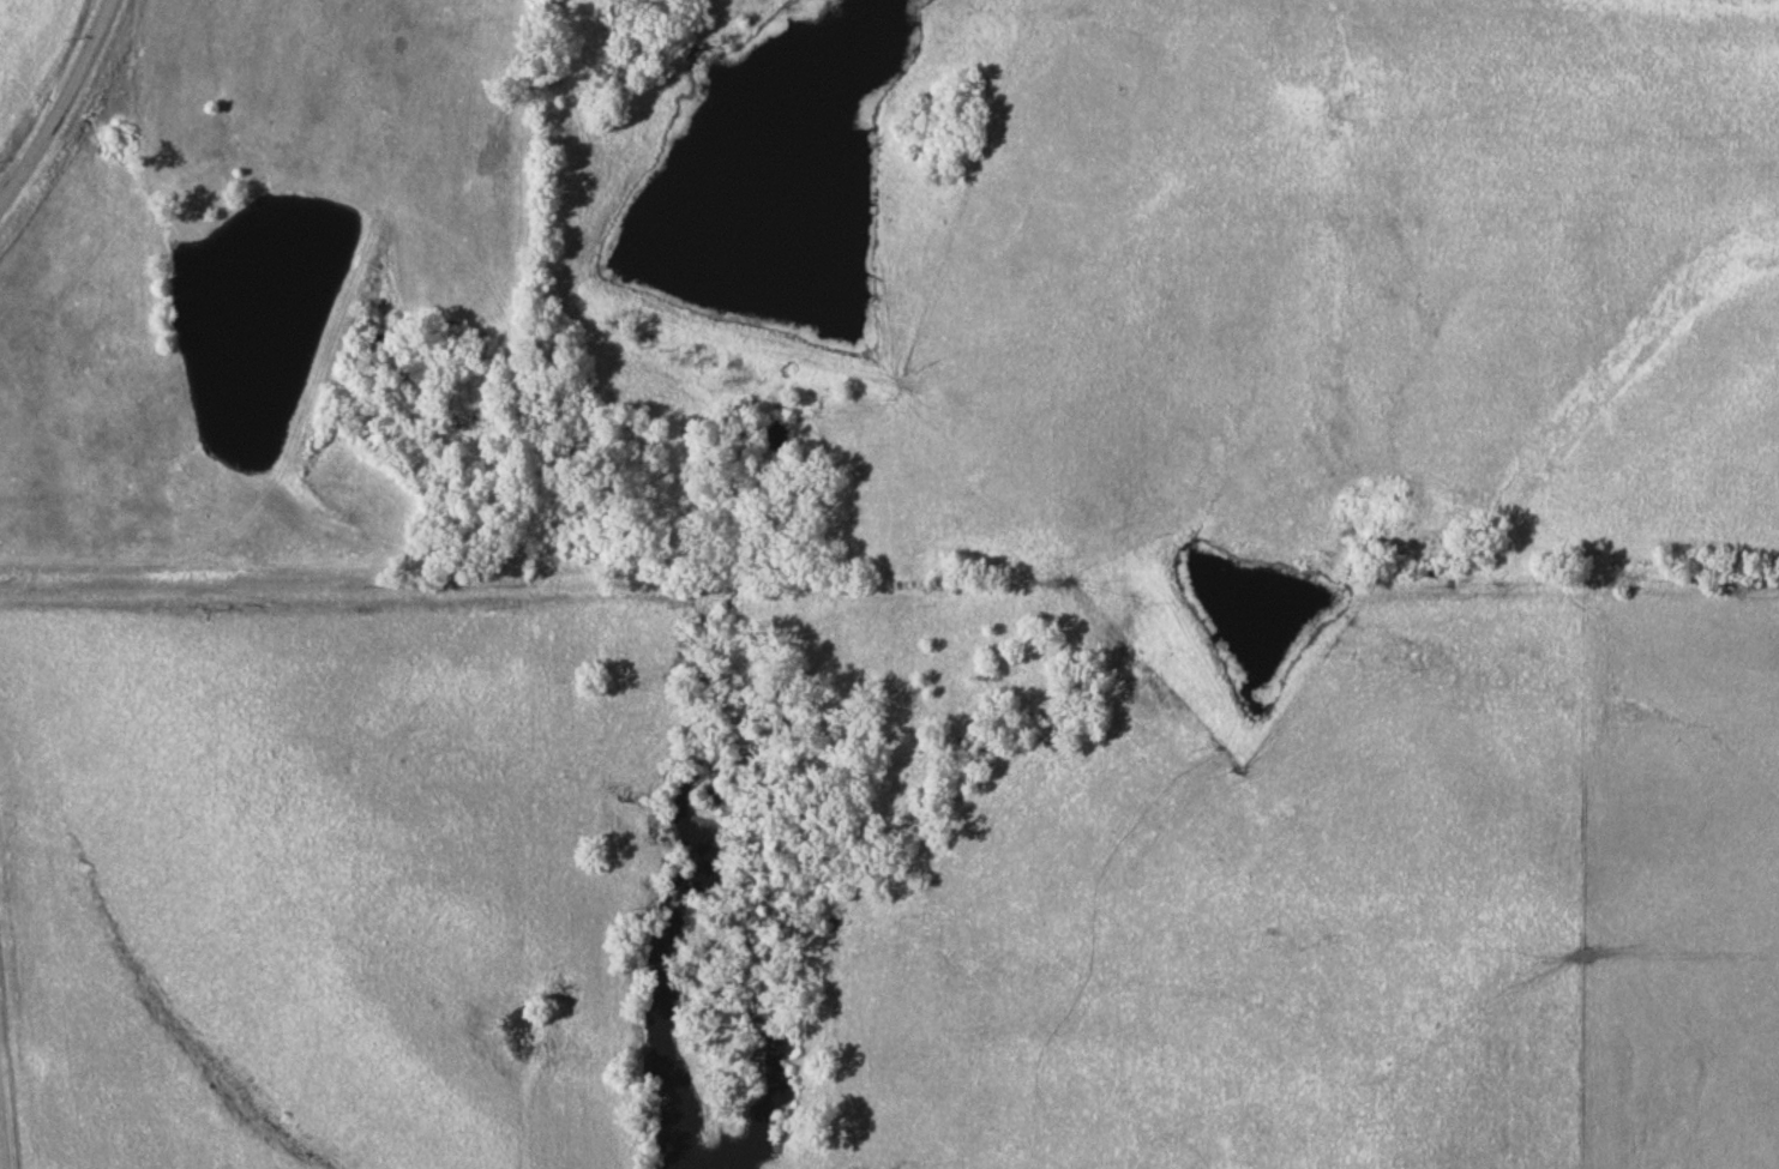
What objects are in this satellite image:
road: (60, 98)

